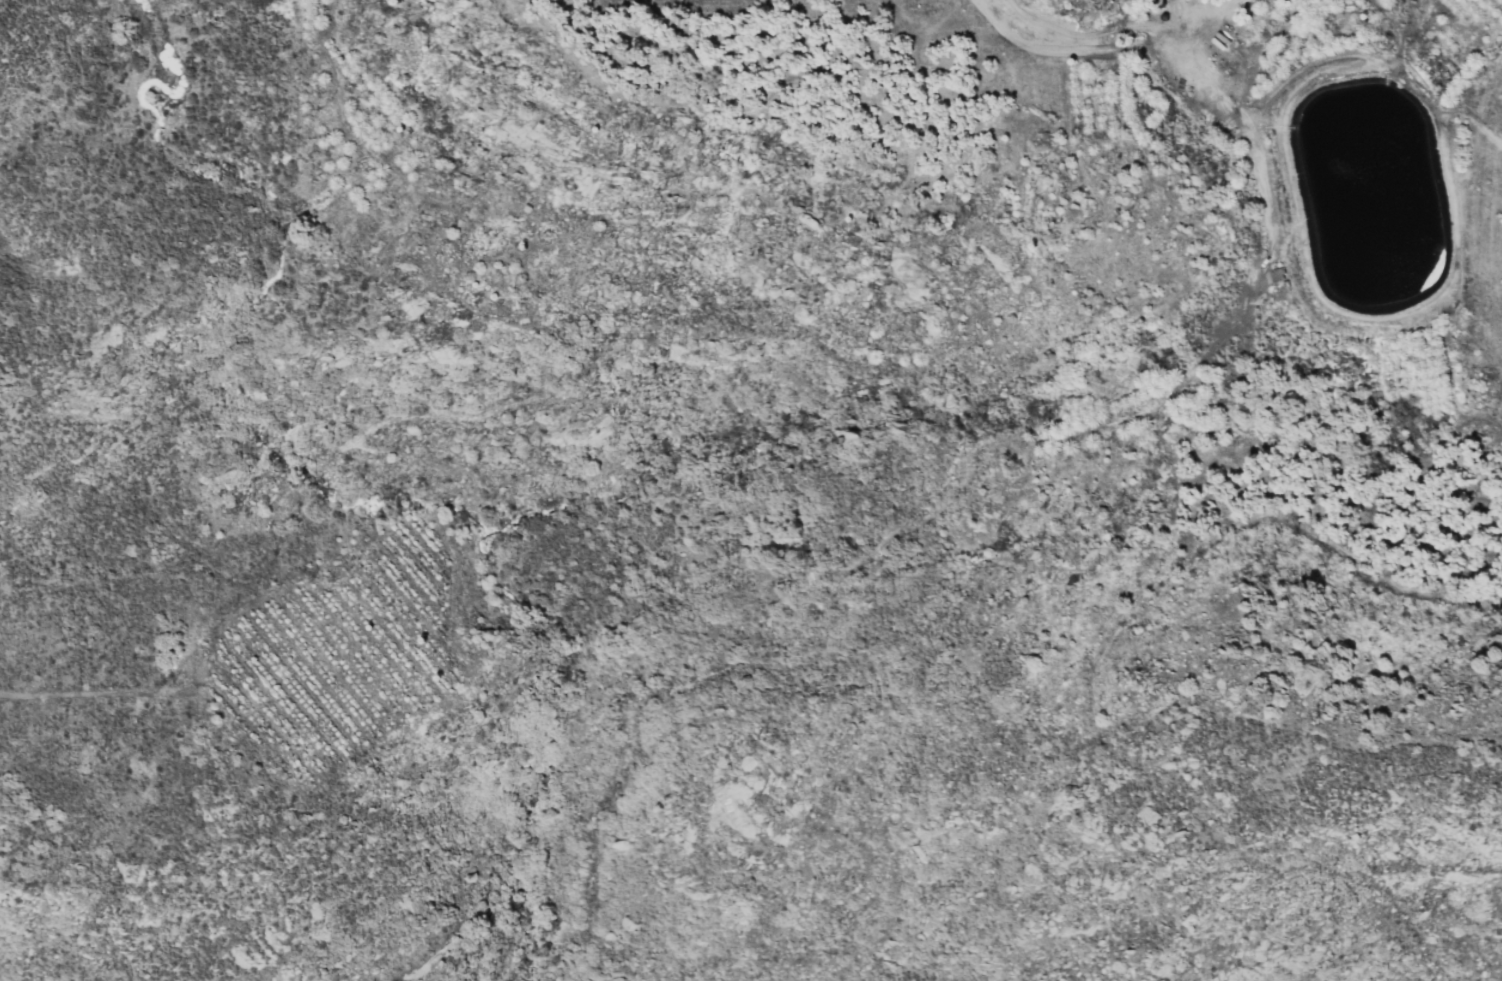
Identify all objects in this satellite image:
road: (1104, 49)
road: (1262, 163)

